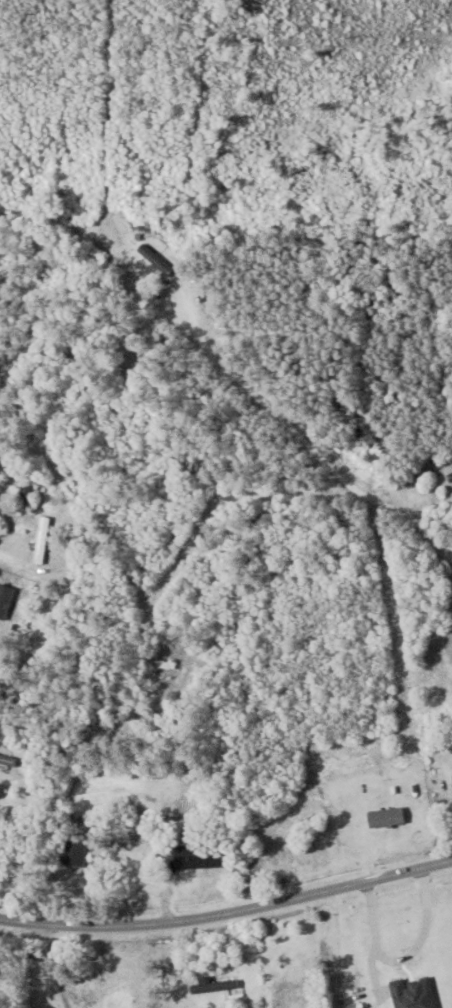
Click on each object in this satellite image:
building: (156, 259)
road: (196, 319)
road: (46, 476)
building: (450, 476)
building: (26, 498)
building: (43, 540)
building: (5, 600)
building: (159, 664)
building: (8, 761)
building: (387, 818)
building: (75, 852)
building: (200, 855)
road: (228, 913)
road: (334, 948)
road: (55, 967)
building: (214, 985)
building: (414, 993)
building: (288, 996)

